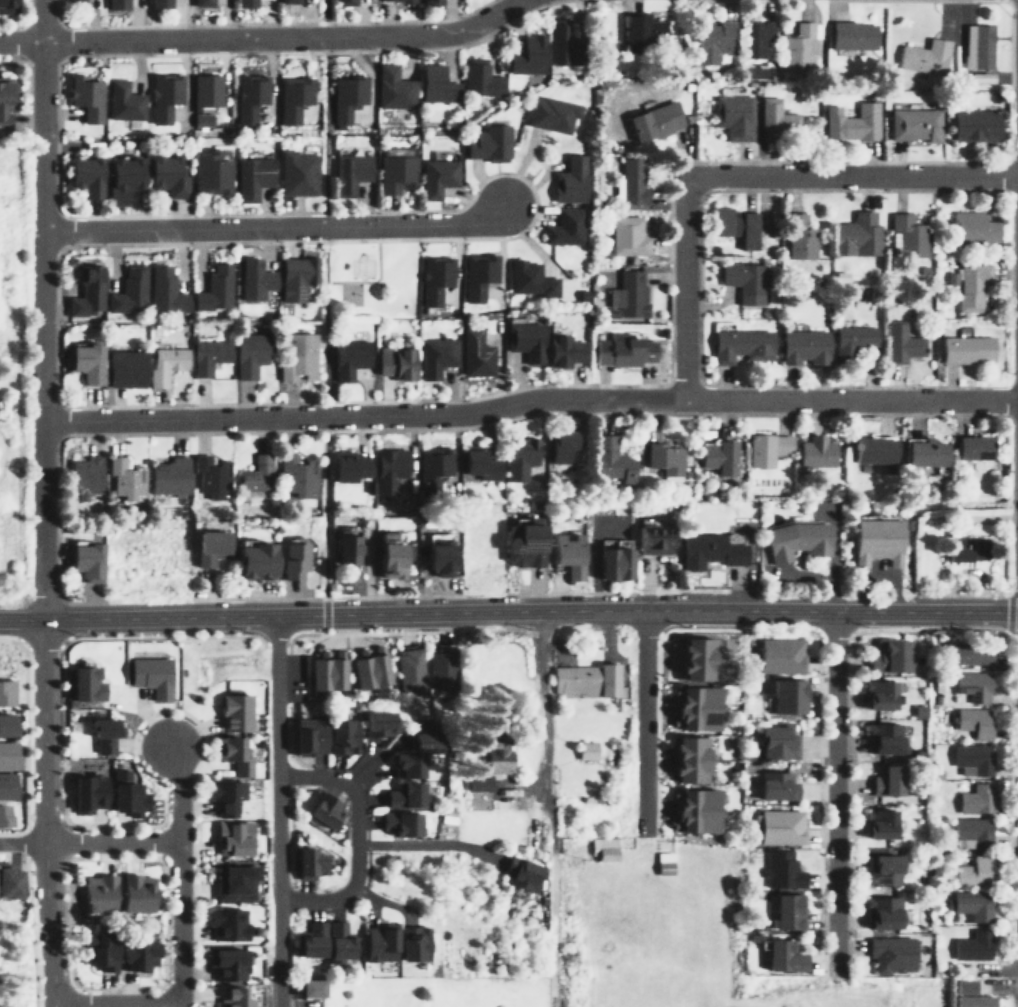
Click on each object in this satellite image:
building: (76, 0)
building: (402, 0)
building: (287, 1)
building: (344, 1)
building: (201, 2)
building: (432, 2)
building: (158, 3)
building: (116, 4)
building: (6, 6)
road: (317, 18)
building: (642, 29)
building: (852, 35)
road: (264, 37)
building: (757, 37)
building: (713, 40)
building: (561, 42)
building: (800, 45)
building: (978, 46)
building: (527, 55)
building: (925, 56)
building: (480, 78)
building: (436, 84)
building: (393, 87)
building: (206, 90)
building: (164, 95)
building: (249, 96)
building: (346, 96)
building: (85, 97)
building: (292, 97)
building: (5, 100)
building: (123, 101)
building: (552, 113)
building: (733, 116)
road: (1015, 117)
building: (774, 118)
building: (201, 119)
building: (654, 120)
building: (852, 121)
building: (915, 124)
building: (975, 124)
building: (488, 143)
building: (395, 169)
building: (210, 172)
building: (349, 172)
building: (296, 173)
building: (84, 175)
building: (167, 175)
road: (856, 175)
building: (252, 176)
building: (122, 177)
building: (436, 177)
building: (569, 180)
building: (631, 180)
building: (736, 225)
building: (565, 226)
road: (274, 227)
building: (972, 227)
building: (857, 234)
building: (907, 235)
building: (628, 236)
building: (799, 236)
park: (365, 268)
building: (477, 274)
building: (296, 275)
building: (434, 277)
building: (254, 279)
building: (530, 279)
building: (743, 280)
building: (972, 285)
road: (685, 287)
building: (215, 288)
building: (164, 289)
building: (129, 290)
building: (86, 291)
building: (628, 293)
road: (320, 325)
building: (524, 339)
building: (852, 341)
building: (902, 342)
building: (742, 346)
building: (804, 347)
building: (967, 349)
building: (562, 350)
building: (615, 350)
building: (645, 350)
building: (249, 353)
building: (475, 354)
building: (208, 355)
building: (298, 356)
building: (436, 356)
building: (348, 358)
building: (85, 361)
building: (393, 362)
building: (165, 363)
building: (124, 368)
road: (528, 400)
building: (561, 444)
building: (973, 448)
building: (766, 449)
building: (872, 450)
building: (814, 451)
building: (922, 453)
building: (519, 457)
building: (717, 457)
building: (663, 460)
building: (609, 462)
building: (478, 463)
building: (347, 465)
building: (434, 466)
building: (387, 470)
building: (257, 474)
building: (169, 475)
building: (298, 475)
building: (82, 476)
building: (211, 476)
building: (127, 479)
road: (40, 503)
building: (654, 540)
building: (792, 541)
building: (874, 542)
building: (520, 544)
building: (207, 546)
building: (345, 548)
building: (967, 548)
building: (707, 552)
building: (563, 554)
building: (387, 555)
building: (435, 557)
building: (291, 559)
building: (608, 559)
building: (84, 561)
building: (251, 561)
road: (508, 611)
building: (975, 654)
building: (699, 655)
building: (777, 656)
building: (884, 658)
building: (436, 669)
building: (364, 670)
building: (404, 672)
building: (323, 674)
building: (148, 675)
building: (581, 680)
building: (84, 683)
building: (969, 686)
building: (6, 691)
building: (895, 694)
building: (876, 695)
building: (781, 696)
building: (700, 703)
building: (919, 710)
building: (234, 712)
road: (639, 718)
building: (373, 723)
building: (970, 724)
building: (5, 725)
building: (101, 733)
building: (322, 736)
building: (420, 737)
building: (883, 738)
building: (768, 741)
building: (582, 750)
building: (492, 753)
building: (8, 754)
building: (232, 754)
building: (691, 755)
building: (971, 759)
building: (403, 765)
building: (883, 781)
building: (475, 783)
building: (8, 785)
building: (769, 785)
road: (835, 790)
building: (85, 792)
building: (125, 793)
road: (180, 795)
building: (223, 795)
building: (400, 795)
building: (974, 797)
building: (699, 806)
road: (548, 808)
road: (279, 810)
building: (323, 811)
building: (3, 815)
building: (397, 823)
building: (874, 825)
building: (774, 828)
building: (970, 834)
building: (233, 838)
road: (357, 838)
road: (90, 842)
building: (598, 849)
building: (311, 862)
building: (660, 863)
building: (780, 869)
building: (880, 870)
building: (971, 872)
building: (519, 874)
building: (9, 881)
building: (234, 882)
building: (136, 892)
building: (97, 893)
building: (971, 905)
road: (24, 908)
building: (780, 912)
building: (880, 913)
building: (226, 923)
building: (307, 940)
building: (336, 940)
building: (412, 942)
building: (377, 943)
building: (971, 946)
building: (95, 950)
building: (889, 954)
building: (131, 955)
building: (779, 957)
building: (225, 963)
road: (182, 983)
building: (306, 988)
building: (970, 996)
building: (232, 998)

